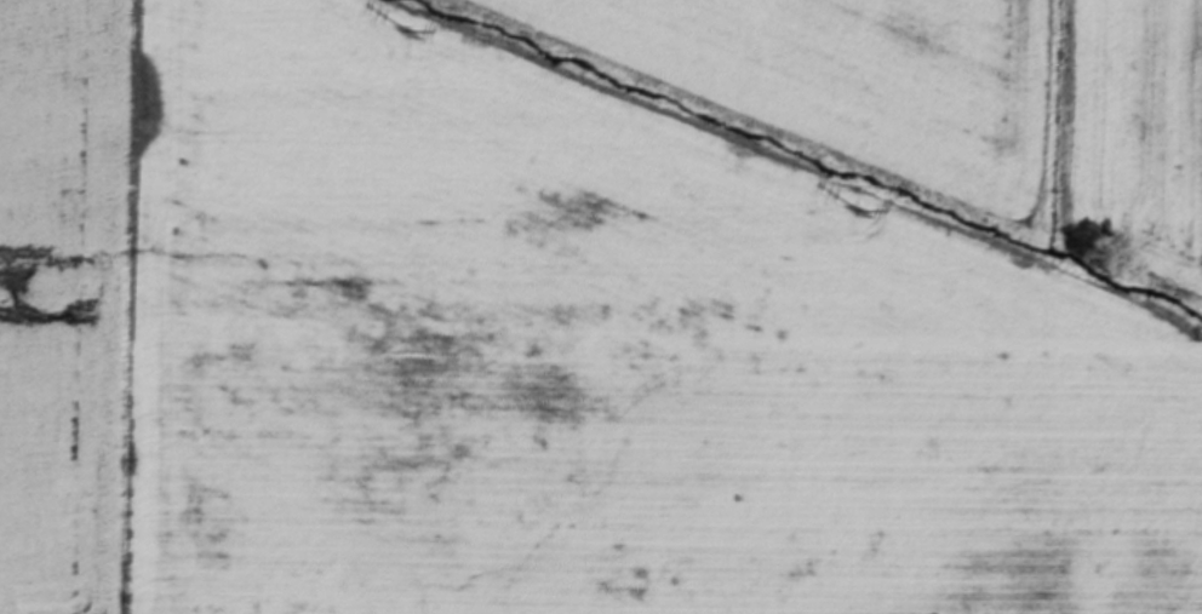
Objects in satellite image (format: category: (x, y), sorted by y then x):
power tower: (407, 33)
power tower: (857, 210)
crop: (601, 306)

